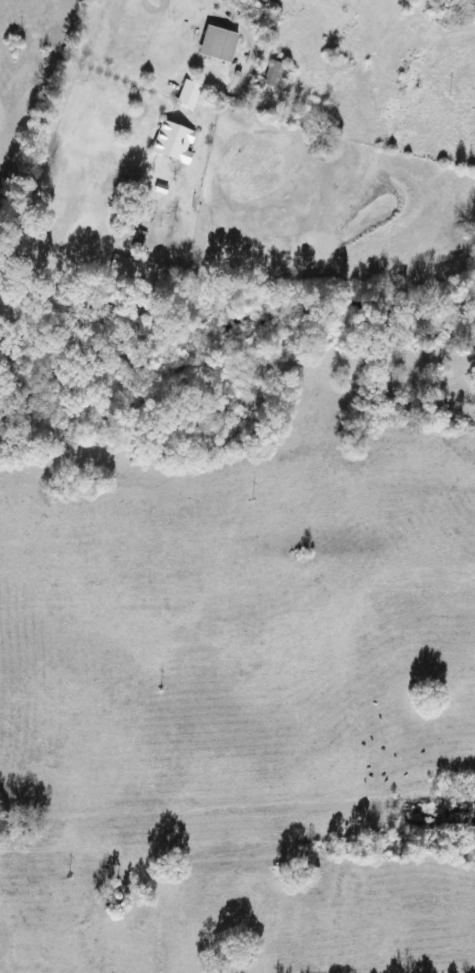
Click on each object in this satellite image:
building: (217, 43)
road: (51, 122)
building: (174, 142)

